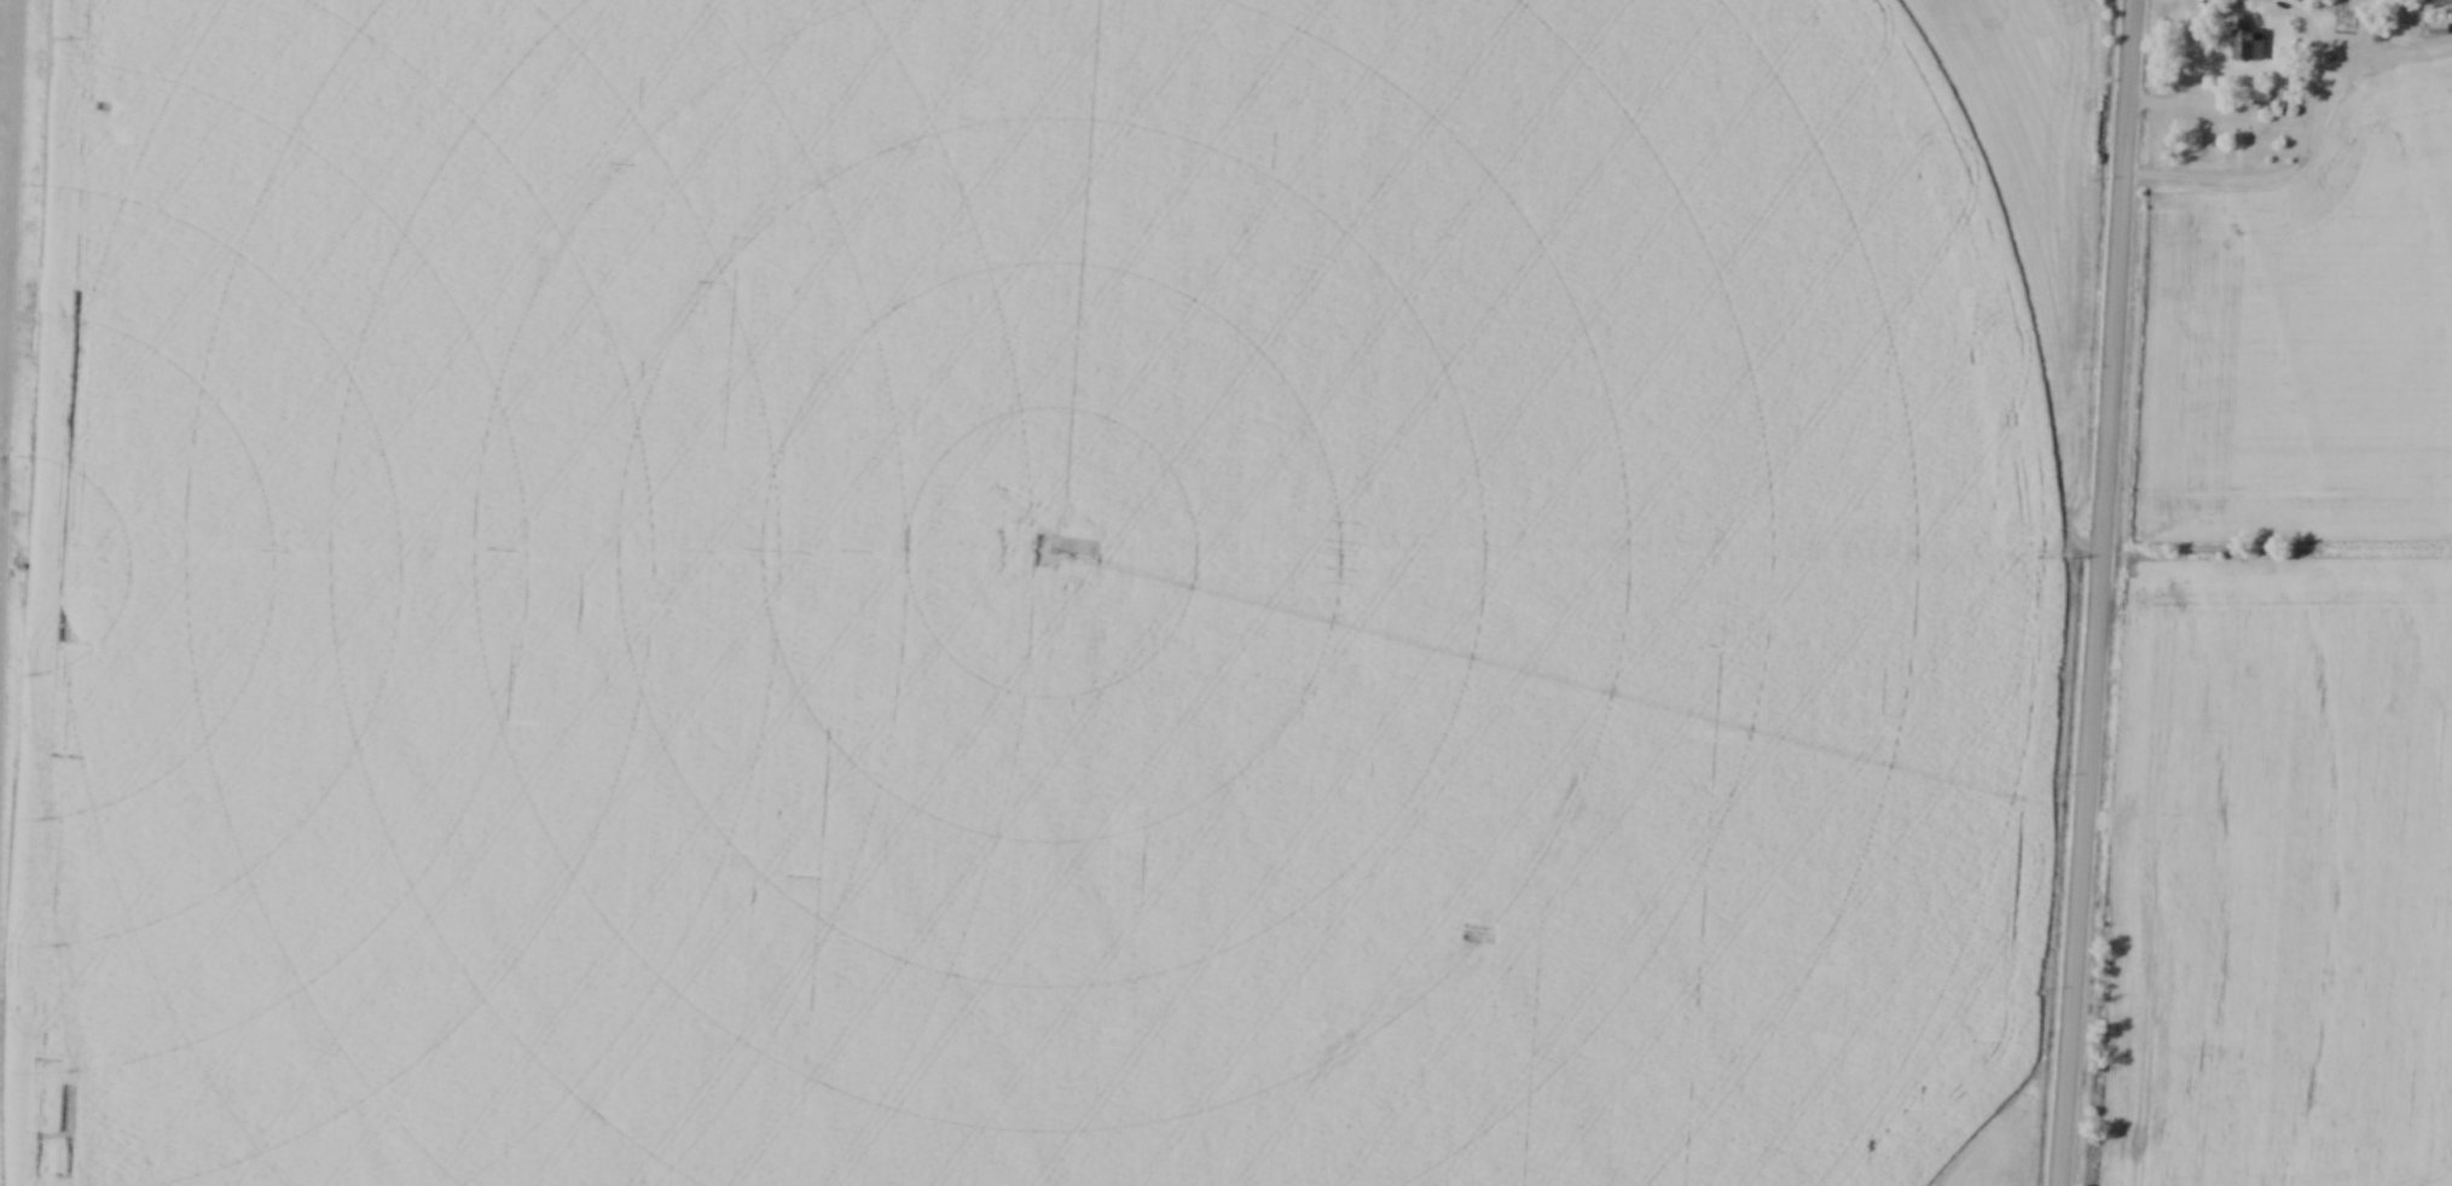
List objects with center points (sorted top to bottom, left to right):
building: (2437, 28)
building: (2243, 46)
road: (2241, 106)
road: (2091, 593)

